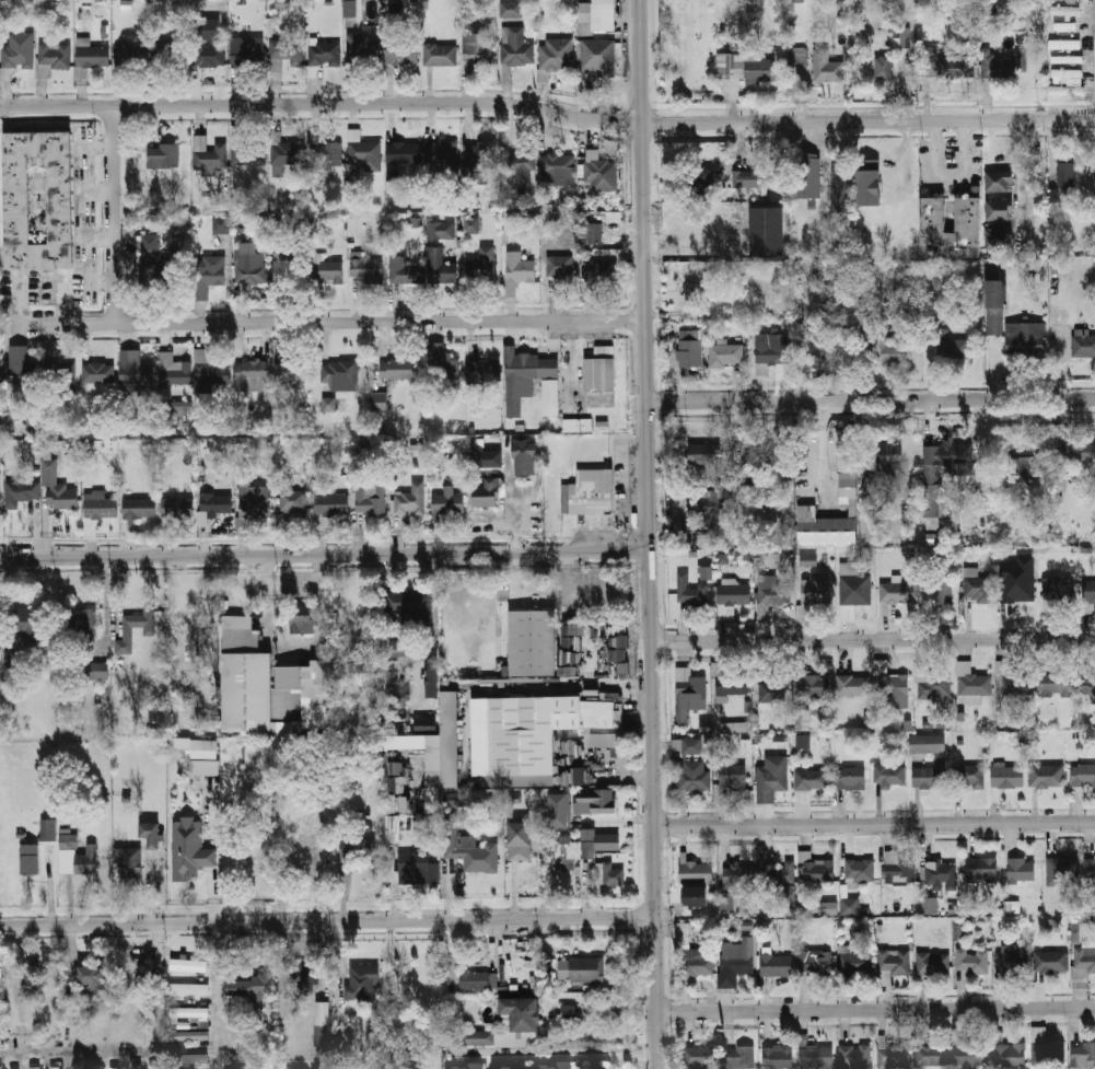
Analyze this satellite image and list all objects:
building: (1051, 0)
building: (350, 9)
building: (511, 10)
building: (1065, 10)
building: (585, 19)
building: (1064, 26)
building: (904, 37)
building: (208, 43)
building: (1064, 45)
building: (515, 48)
building: (247, 50)
building: (477, 50)
building: (21, 53)
building: (286, 53)
building: (360, 53)
building: (400, 53)
building: (324, 54)
building: (440, 55)
building: (556, 55)
building: (597, 55)
building: (167, 56)
building: (53, 57)
building: (130, 57)
building: (90, 58)
building: (800, 58)
building: (1067, 59)
building: (945, 66)
building: (1004, 66)
building: (745, 67)
building: (826, 67)
building: (883, 68)
building: (1068, 73)
building: (1067, 91)
road: (547, 109)
road: (95, 147)
building: (287, 153)
building: (442, 153)
building: (480, 153)
building: (209, 154)
building: (248, 154)
building: (326, 155)
building: (400, 155)
building: (163, 156)
building: (366, 156)
building: (556, 166)
building: (520, 167)
building: (1065, 174)
building: (602, 175)
building: (885, 175)
building: (807, 176)
road: (1018, 176)
road: (954, 177)
building: (701, 181)
building: (746, 181)
building: (999, 182)
building: (867, 183)
road: (97, 188)
building: (841, 188)
building: (16, 189)
building: (998, 210)
road: (112, 211)
building: (933, 214)
building: (221, 224)
building: (470, 225)
building: (440, 230)
building: (766, 231)
building: (594, 232)
road: (97, 235)
building: (999, 239)
building: (152, 247)
building: (249, 264)
building: (481, 266)
building: (440, 267)
building: (286, 268)
building: (520, 268)
building: (559, 268)
building: (366, 269)
building: (209, 270)
building: (328, 271)
building: (405, 271)
building: (604, 278)
road: (102, 283)
building: (692, 293)
building: (1062, 314)
building: (932, 318)
road: (330, 322)
building: (1012, 324)
building: (843, 340)
building: (1082, 342)
building: (951, 346)
building: (689, 348)
building: (890, 349)
building: (769, 351)
building: (724, 353)
building: (442, 363)
building: (19, 364)
building: (133, 368)
building: (396, 369)
building: (482, 369)
building: (599, 369)
building: (173, 370)
building: (210, 370)
building: (60, 371)
building: (291, 372)
building: (97, 373)
building: (252, 374)
building: (340, 374)
building: (523, 375)
building: (549, 397)
building: (377, 400)
road: (872, 400)
building: (328, 404)
building: (576, 425)
road: (825, 448)
building: (1079, 449)
building: (702, 453)
building: (888, 454)
building: (485, 455)
building: (523, 455)
building: (1021, 463)
building: (847, 477)
building: (930, 479)
building: (56, 487)
building: (21, 492)
building: (488, 492)
building: (589, 492)
building: (253, 497)
building: (291, 498)
building: (409, 499)
building: (371, 500)
building: (447, 502)
building: (330, 504)
building: (98, 506)
building: (212, 506)
building: (139, 508)
building: (177, 508)
building: (708, 510)
building: (0, 513)
road: (639, 534)
road: (650, 534)
road: (324, 554)
building: (704, 572)
building: (1020, 580)
building: (975, 584)
building: (853, 585)
building: (689, 590)
building: (895, 591)
building: (1053, 591)
building: (1088, 591)
building: (937, 592)
building: (770, 593)
building: (812, 593)
building: (731, 596)
building: (411, 606)
building: (302, 618)
building: (83, 623)
building: (27, 625)
building: (149, 631)
building: (569, 635)
road: (873, 639)
building: (532, 642)
building: (398, 648)
building: (203, 650)
building: (594, 654)
building: (13, 659)
building: (98, 671)
building: (432, 678)
building: (727, 681)
building: (1010, 681)
building: (932, 683)
building: (970, 683)
building: (1087, 684)
building: (812, 685)
building: (852, 685)
building: (1055, 685)
road: (585, 687)
building: (894, 687)
building: (270, 688)
building: (688, 689)
building: (771, 690)
building: (398, 697)
building: (801, 719)
building: (424, 723)
building: (734, 727)
building: (535, 735)
building: (599, 739)
building: (802, 741)
building: (927, 743)
building: (436, 745)
building: (686, 745)
building: (203, 757)
building: (929, 774)
building: (888, 775)
building: (972, 775)
building: (1005, 775)
building: (1046, 775)
building: (1082, 775)
building: (691, 776)
building: (732, 776)
building: (770, 777)
building: (849, 777)
building: (809, 779)
building: (594, 800)
building: (557, 810)
road: (876, 824)
building: (47, 829)
building: (151, 834)
building: (68, 840)
building: (517, 840)
building: (585, 844)
building: (467, 848)
building: (189, 849)
building: (304, 858)
building: (28, 859)
building: (86, 860)
building: (129, 861)
building: (815, 868)
building: (898, 868)
building: (417, 869)
building: (694, 869)
building: (980, 869)
building: (1060, 869)
building: (1090, 869)
building: (859, 870)
building: (1021, 870)
building: (784, 872)
building: (607, 874)
building: (737, 874)
building: (939, 874)
building: (787, 893)
building: (694, 896)
building: (929, 904)
building: (852, 906)
building: (829, 907)
road: (327, 921)
building: (1074, 933)
building: (682, 934)
building: (737, 956)
building: (1013, 958)
building: (972, 961)
building: (1051, 961)
building: (1084, 961)
building: (815, 962)
building: (854, 962)
building: (894, 962)
building: (697, 963)
building: (933, 963)
building: (188, 965)
building: (777, 965)
building: (0, 968)
building: (581, 968)
building: (306, 975)
building: (92, 977)
building: (32, 980)
building: (135, 980)
building: (478, 980)
building: (363, 983)
road: (218, 984)
building: (251, 987)
building: (188, 989)
building: (1, 994)
road: (158, 995)
road: (876, 1009)
building: (189, 1012)
building: (569, 1013)
building: (323, 1014)
building: (1, 1015)
building: (264, 1018)
building: (526, 1022)
building: (190, 1036)
building: (967, 1051)
building: (1048, 1051)
road: (564, 1054)
building: (932, 1054)
building: (1009, 1055)
building: (816, 1056)
building: (894, 1056)
building: (1083, 1056)
building: (778, 1057)
building: (854, 1057)
road: (71, 1058)
building: (698, 1058)
building: (738, 1058)
building: (189, 1059)
building: (465, 1065)
building: (552, 1066)
building: (0, 1067)
building: (56, 1067)
building: (136, 1067)
building: (155, 1067)
building: (13, 1068)
building: (35, 1068)
building: (77, 1068)
building: (95, 1068)
building: (115, 1068)
building: (235, 1068)
building: (510, 1068)
building: (594, 1068)

